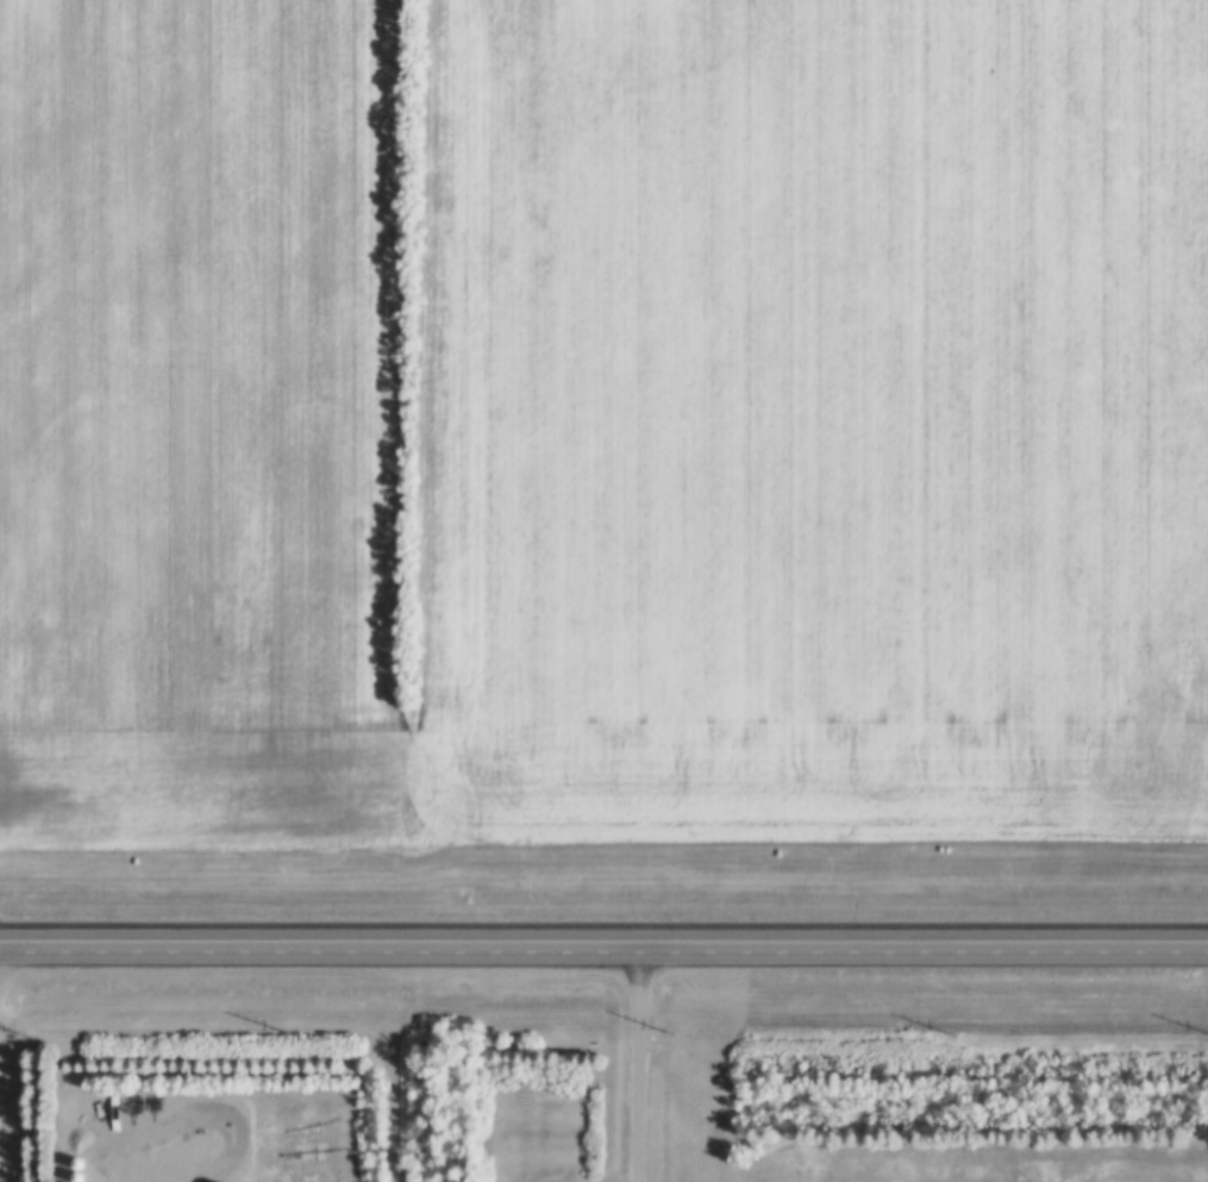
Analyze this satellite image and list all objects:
road: (603, 939)
road: (636, 1061)
building: (76, 1163)
silo: (76, 1163)
building: (77, 1177)
silo: (77, 1177)

